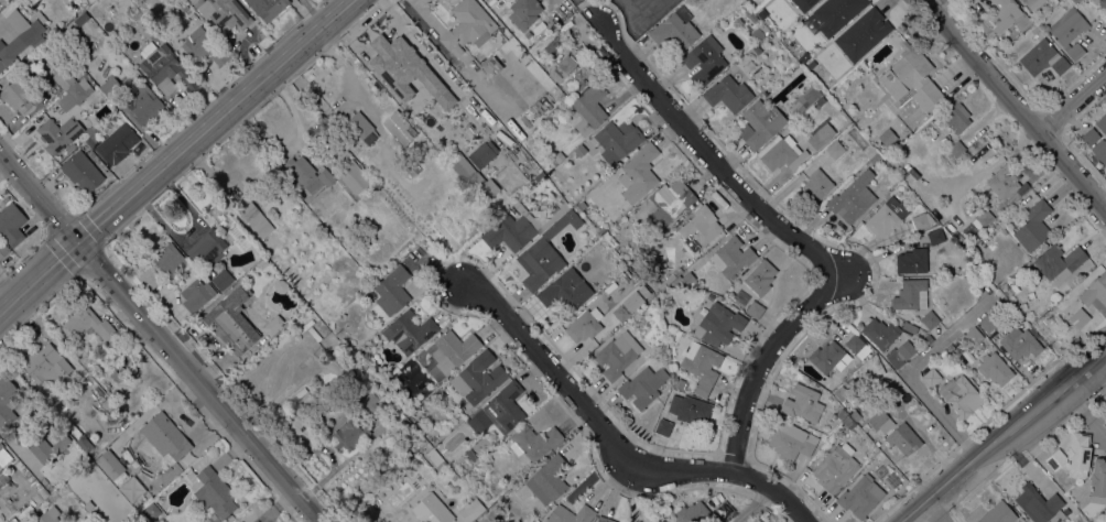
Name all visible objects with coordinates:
building: (1093, 0)
building: (1075, 1)
building: (1103, 2)
building: (803, 3)
building: (1032, 3)
road: (932, 4)
building: (267, 7)
road: (637, 7)
building: (524, 12)
building: (223, 13)
building: (836, 13)
building: (1007, 17)
building: (82, 18)
building: (466, 26)
building: (675, 29)
building: (1067, 31)
building: (757, 33)
building: (863, 34)
building: (1033, 34)
building: (986, 35)
building: (20, 36)
building: (552, 43)
building: (203, 45)
building: (757, 48)
building: (479, 56)
building: (1043, 57)
building: (704, 59)
building: (491, 66)
building: (164, 67)
building: (562, 67)
building: (405, 69)
building: (64, 77)
building: (911, 77)
building: (110, 85)
building: (76, 91)
building: (728, 94)
building: (15, 95)
building: (804, 98)
building: (822, 101)
building: (541, 102)
road: (1013, 102)
building: (142, 104)
road: (1074, 105)
building: (589, 108)
building: (955, 116)
building: (759, 123)
building: (1102, 123)
building: (360, 127)
building: (399, 127)
building: (791, 128)
building: (58, 133)
building: (1089, 137)
building: (618, 139)
building: (816, 139)
building: (93, 140)
building: (118, 143)
building: (882, 144)
building: (835, 149)
building: (956, 149)
building: (1100, 150)
building: (338, 151)
building: (581, 151)
building: (778, 151)
building: (484, 153)
road: (174, 154)
building: (875, 156)
road: (711, 159)
building: (553, 163)
building: (411, 167)
building: (82, 171)
building: (639, 173)
building: (307, 174)
building: (355, 176)
building: (473, 176)
building: (539, 176)
building: (1004, 181)
building: (815, 186)
road: (1103, 196)
building: (853, 197)
building: (542, 199)
building: (670, 202)
building: (582, 205)
building: (887, 216)
building: (984, 217)
building: (254, 218)
building: (922, 219)
building: (11, 221)
building: (1033, 226)
building: (520, 227)
building: (700, 228)
building: (936, 236)
building: (609, 239)
building: (207, 246)
building: (3, 249)
building: (972, 249)
building: (316, 251)
building: (546, 251)
building: (731, 255)
building: (169, 259)
building: (912, 260)
building: (1059, 261)
building: (262, 262)
building: (760, 276)
building: (149, 278)
building: (687, 278)
building: (221, 279)
building: (281, 285)
building: (392, 290)
building: (565, 290)
building: (909, 293)
building: (1096, 293)
building: (196, 294)
building: (630, 302)
building: (755, 309)
building: (621, 311)
building: (1077, 317)
building: (282, 319)
building: (930, 319)
building: (231, 322)
building: (988, 322)
building: (585, 324)
building: (719, 324)
building: (90, 325)
building: (271, 326)
building: (409, 330)
building: (880, 333)
building: (314, 334)
building: (973, 335)
road: (161, 338)
building: (928, 338)
building: (855, 342)
building: (1019, 342)
building: (453, 347)
building: (900, 352)
building: (617, 354)
building: (826, 356)
building: (341, 359)
road: (767, 361)
building: (50, 362)
building: (702, 366)
building: (995, 368)
road: (910, 369)
building: (115, 374)
building: (931, 377)
building: (357, 378)
building: (478, 378)
building: (832, 380)
building: (679, 382)
building: (642, 385)
building: (849, 390)
building: (299, 393)
building: (961, 395)
building: (102, 398)
building: (371, 399)
building: (8, 400)
building: (412, 401)
road: (1077, 401)
building: (803, 402)
building: (690, 409)
building: (500, 410)
building: (841, 413)
building: (855, 414)
building: (878, 420)
building: (848, 422)
building: (865, 426)
building: (663, 427)
road: (1098, 428)
building: (350, 434)
road: (1002, 434)
building: (162, 436)
building: (903, 438)
building: (533, 441)
building: (791, 441)
building: (84, 443)
road: (612, 444)
building: (48, 445)
building: (470, 453)
building: (3, 456)
building: (1073, 456)
building: (435, 458)
building: (110, 464)
building: (835, 467)
building: (474, 476)
building: (3, 477)
building: (547, 479)
building: (1098, 480)
building: (210, 490)
building: (859, 496)
building: (1040, 504)
road: (751, 507)
building: (152, 509)
building: (432, 509)
building: (724, 509)
building: (470, 510)
building: (692, 512)
building: (998, 513)
building: (571, 514)
building: (48, 515)
building: (1100, 516)
road: (488, 518)
building: (605, 519)
building: (659, 519)
building: (64, 521)
building: (239, 521)
building: (474, 521)

